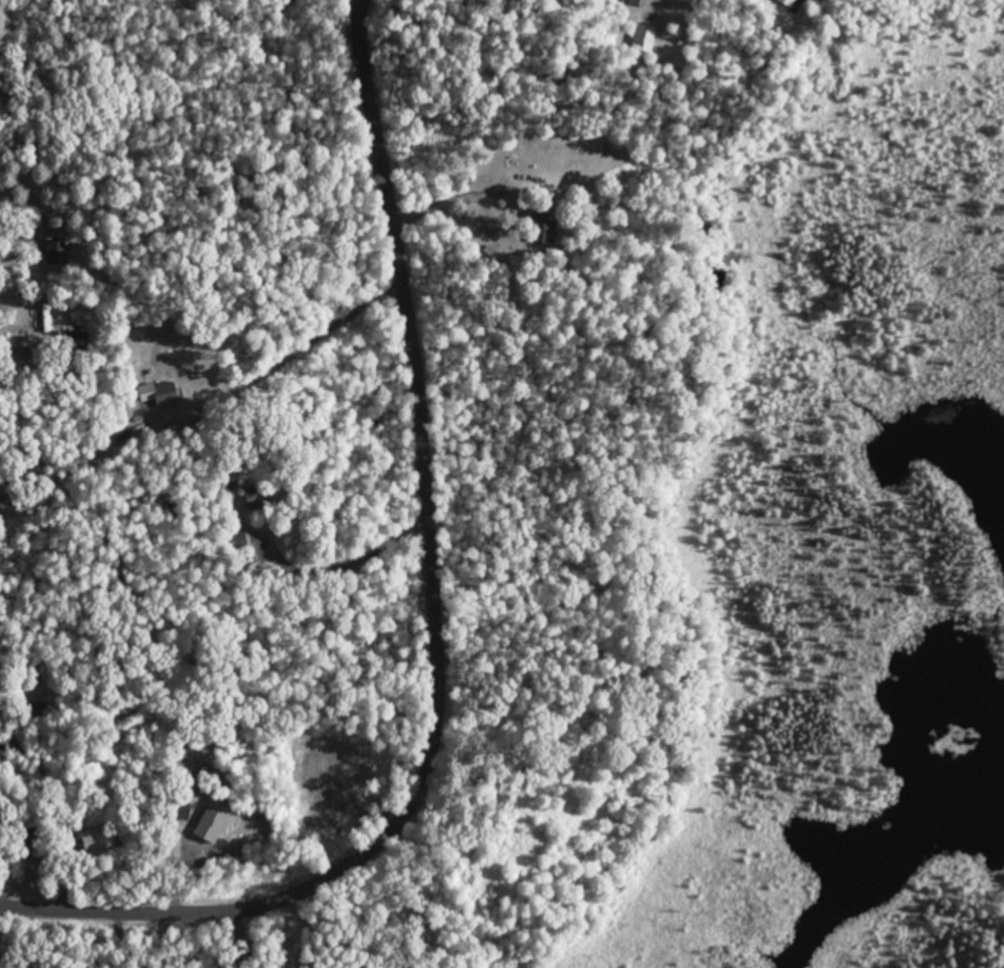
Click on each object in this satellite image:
building: (535, 236)
road: (445, 623)

